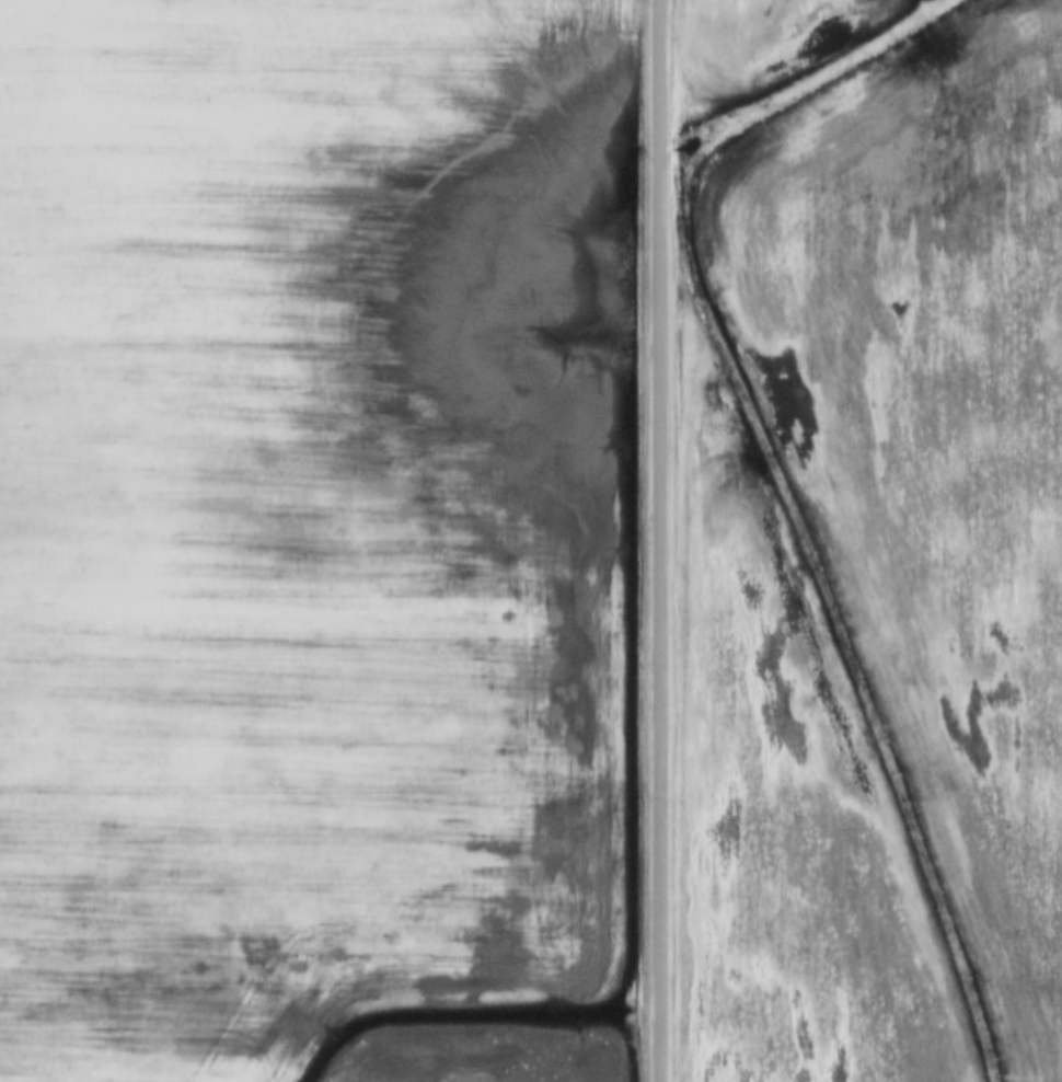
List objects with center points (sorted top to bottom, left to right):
road: (656, 540)

